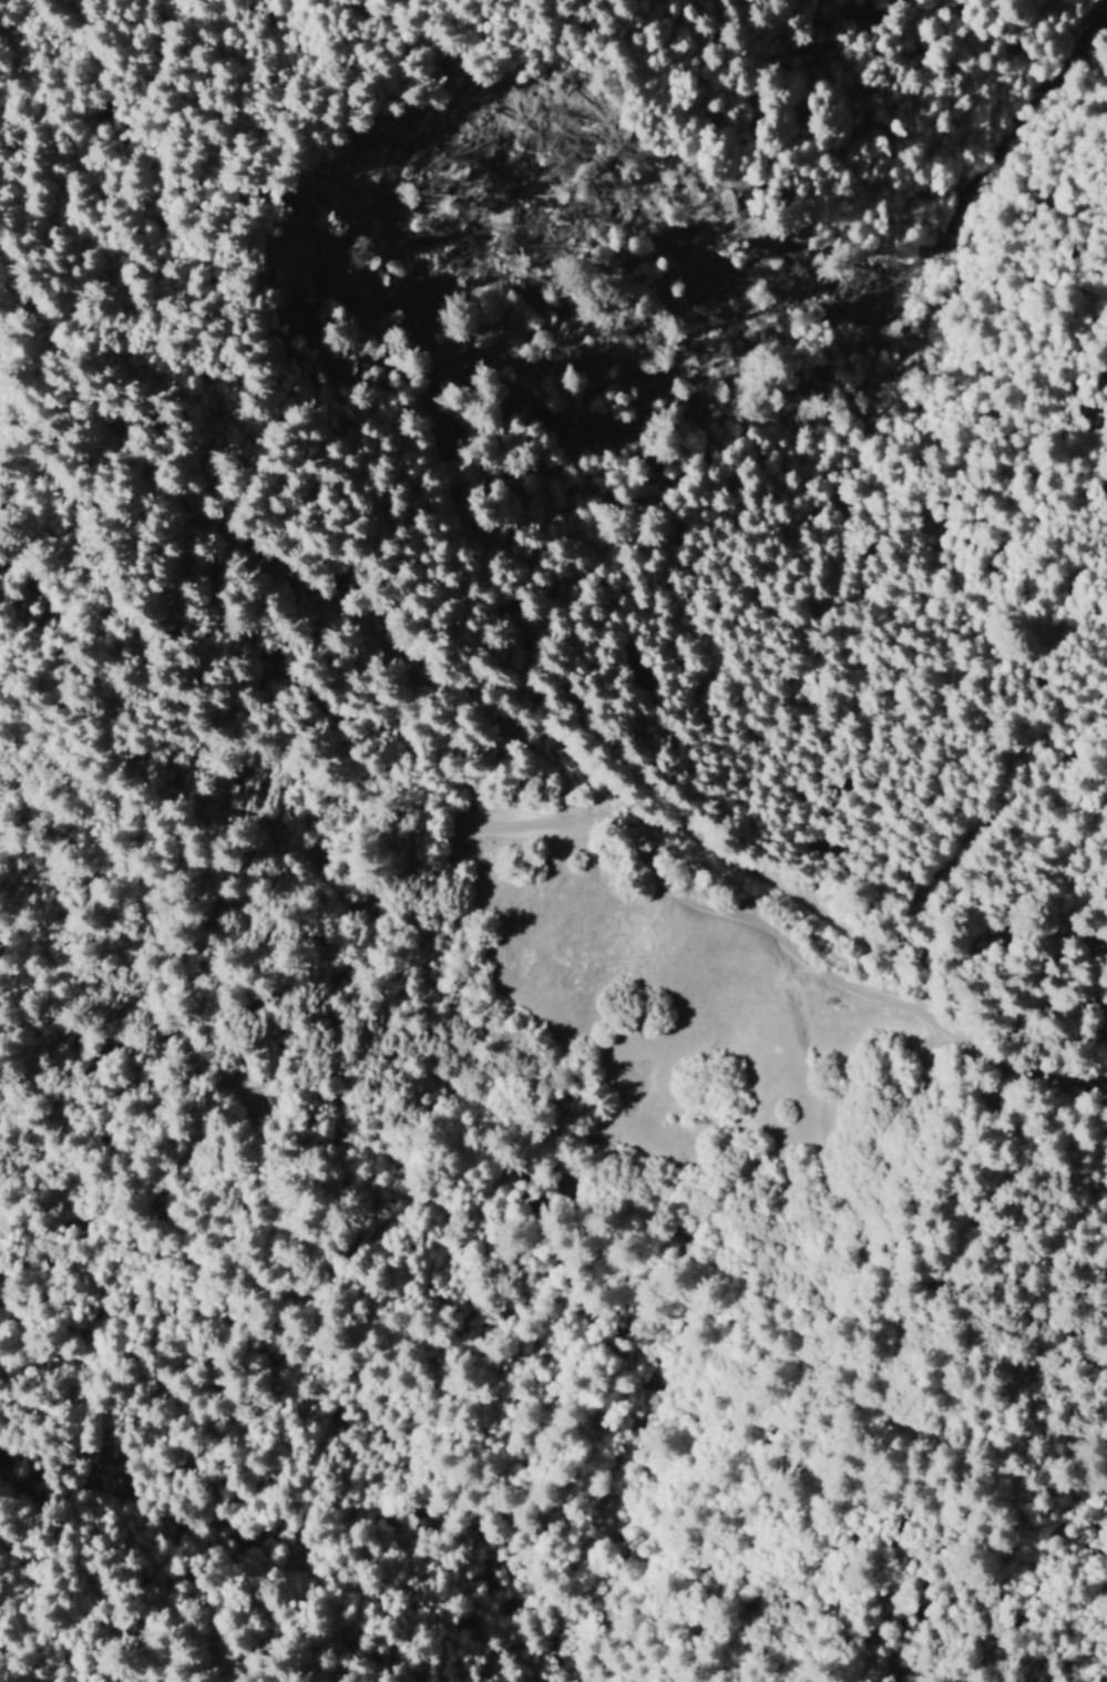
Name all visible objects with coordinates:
road: (498, 652)

